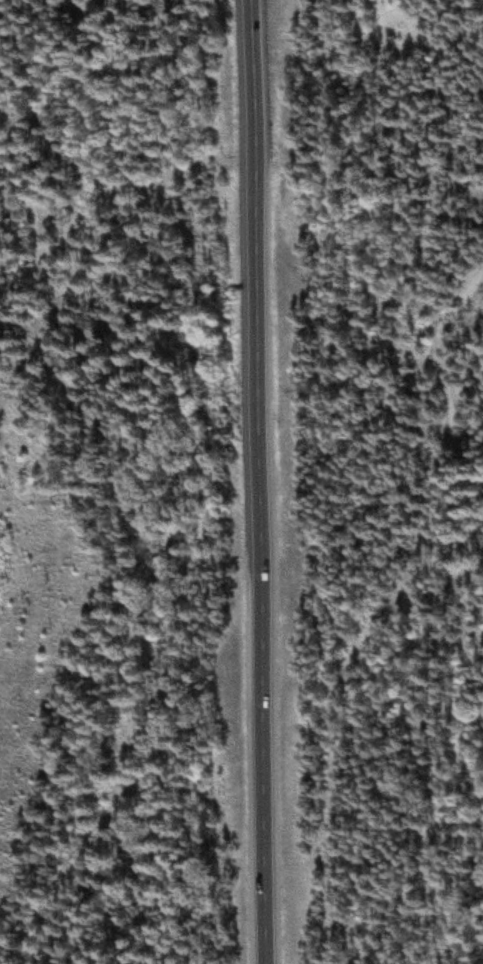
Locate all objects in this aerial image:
road: (478, 148)
road: (251, 482)
road: (144, 523)
road: (393, 612)

